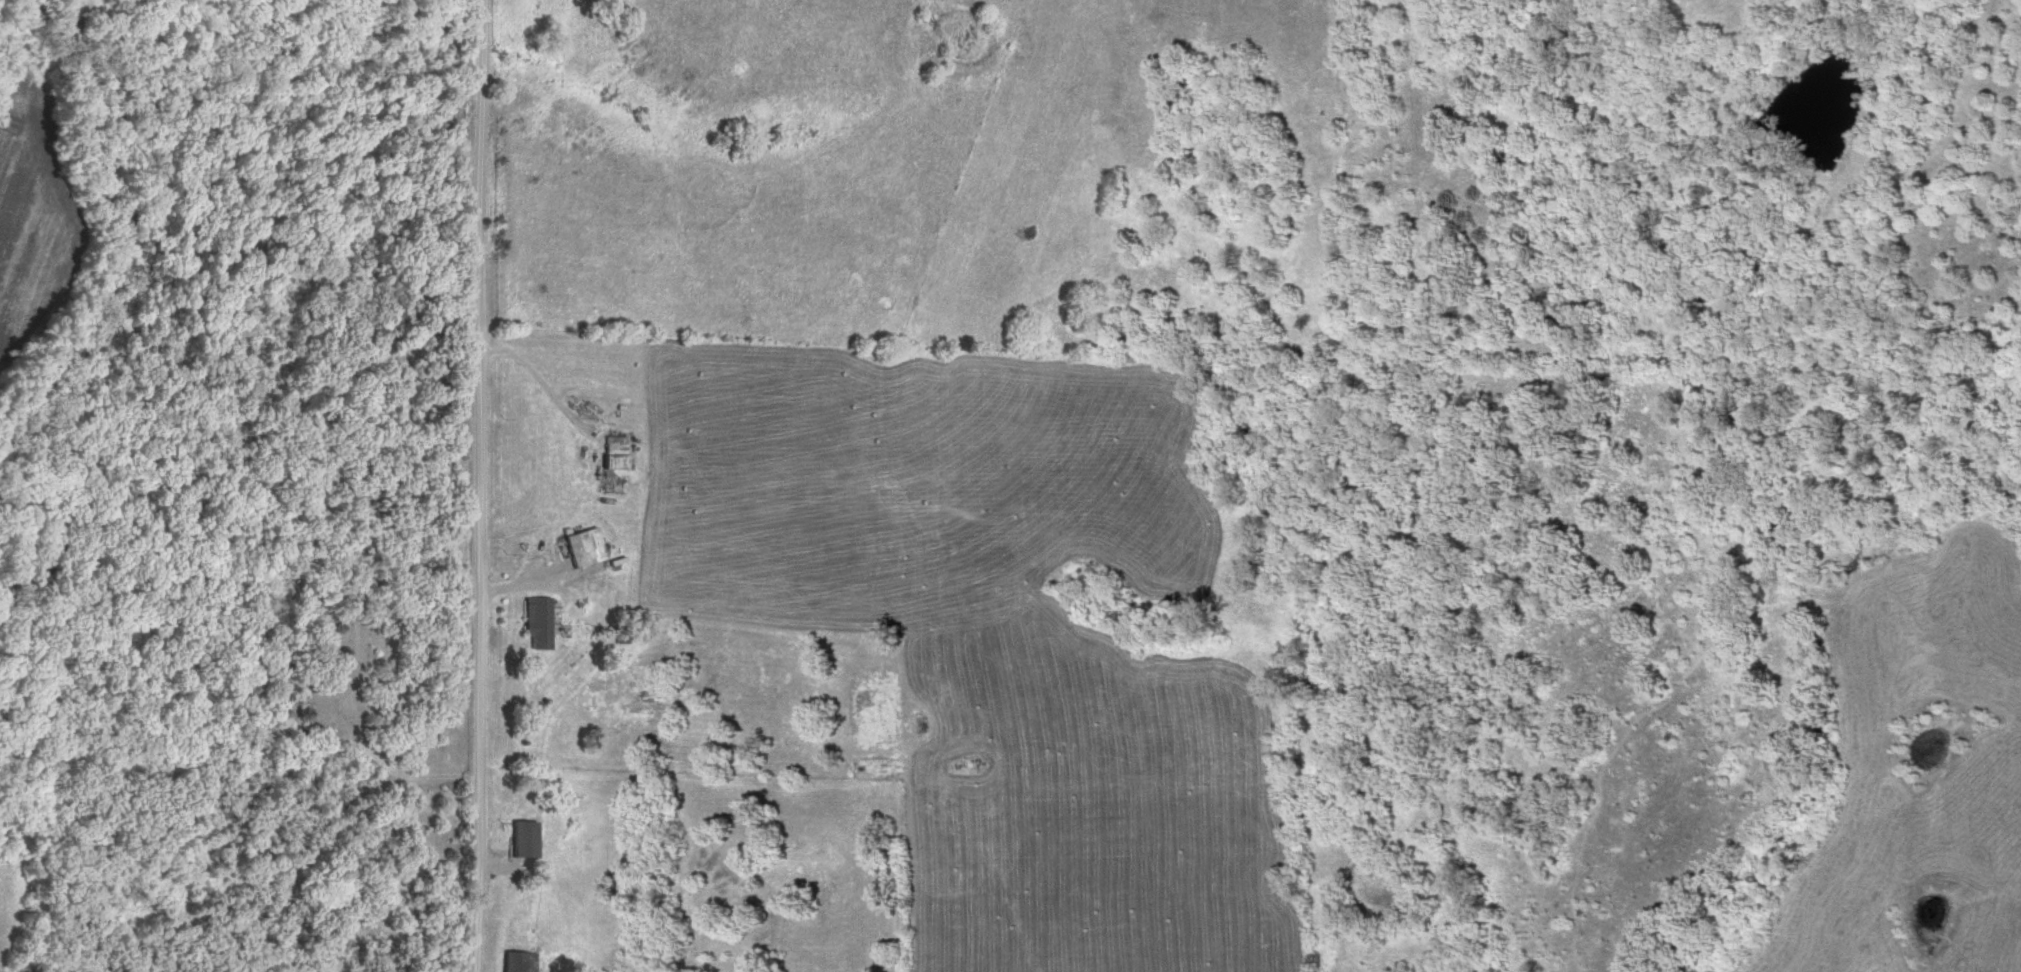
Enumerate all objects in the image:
road: (539, 388)
building: (610, 453)
road: (491, 487)
building: (580, 548)
building: (535, 622)
building: (519, 837)
building: (515, 960)

